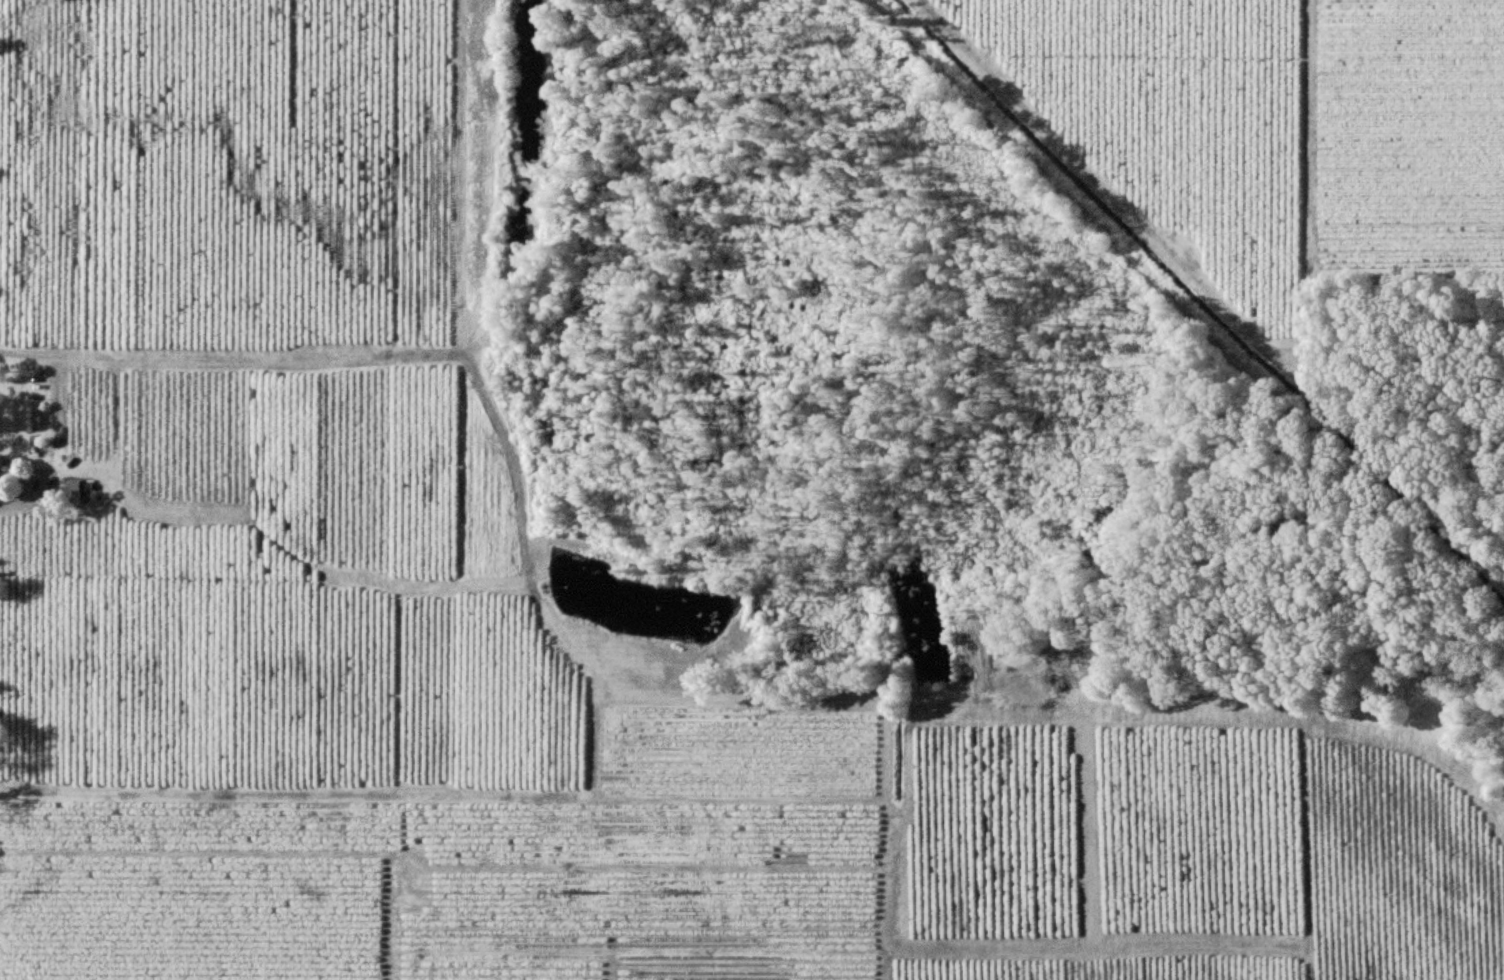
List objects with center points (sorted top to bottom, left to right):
road: (1236, 308)
building: (5, 476)
building: (70, 486)

